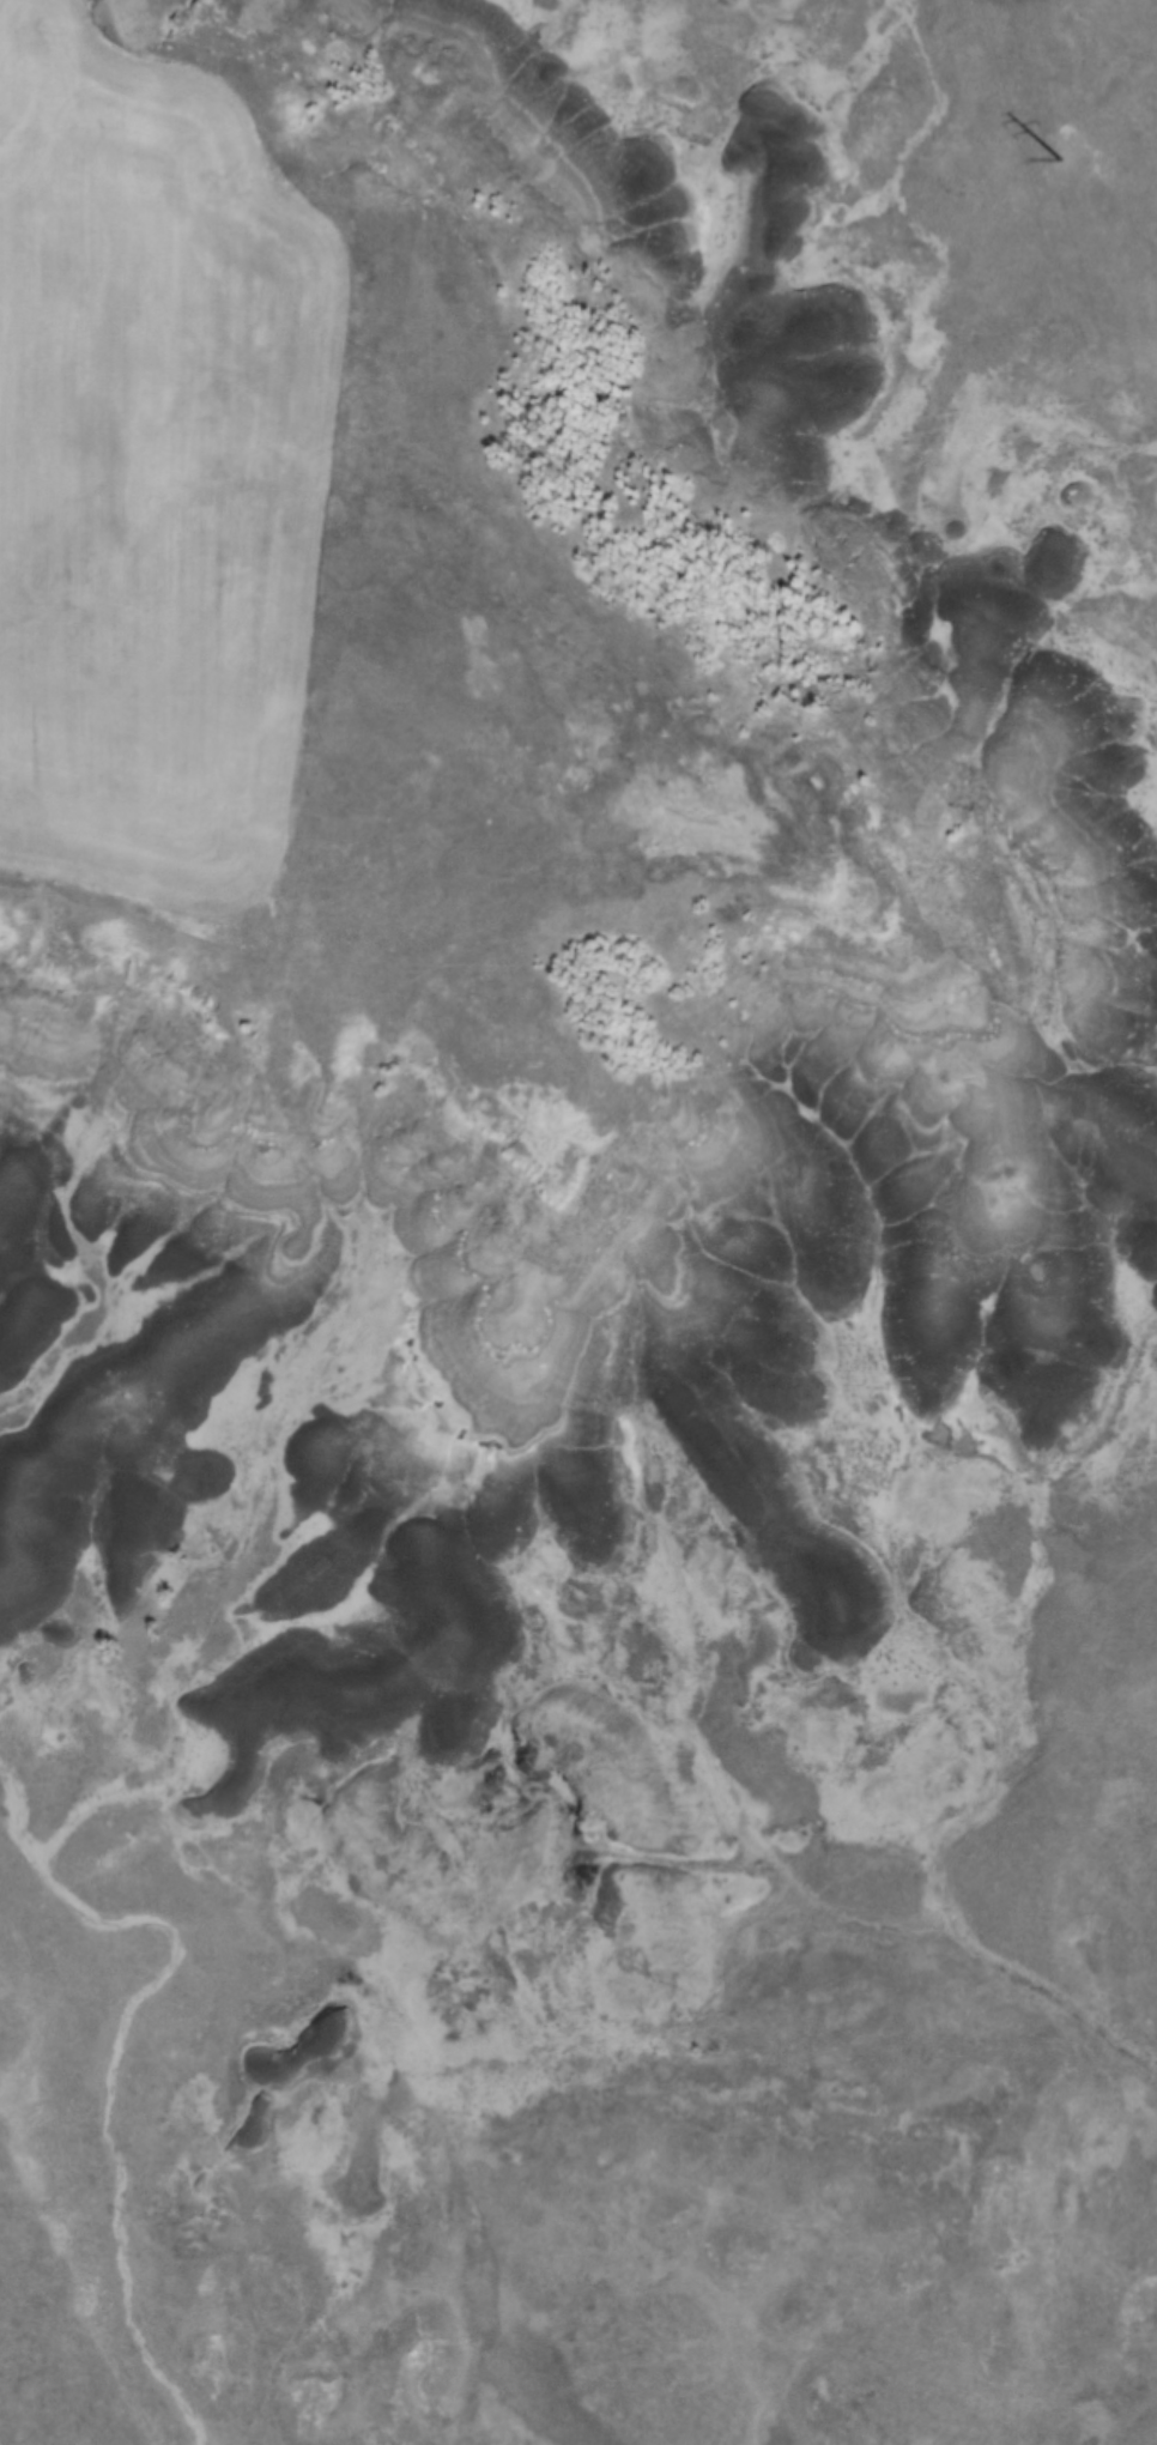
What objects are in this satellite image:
power tower: (1065, 158)

